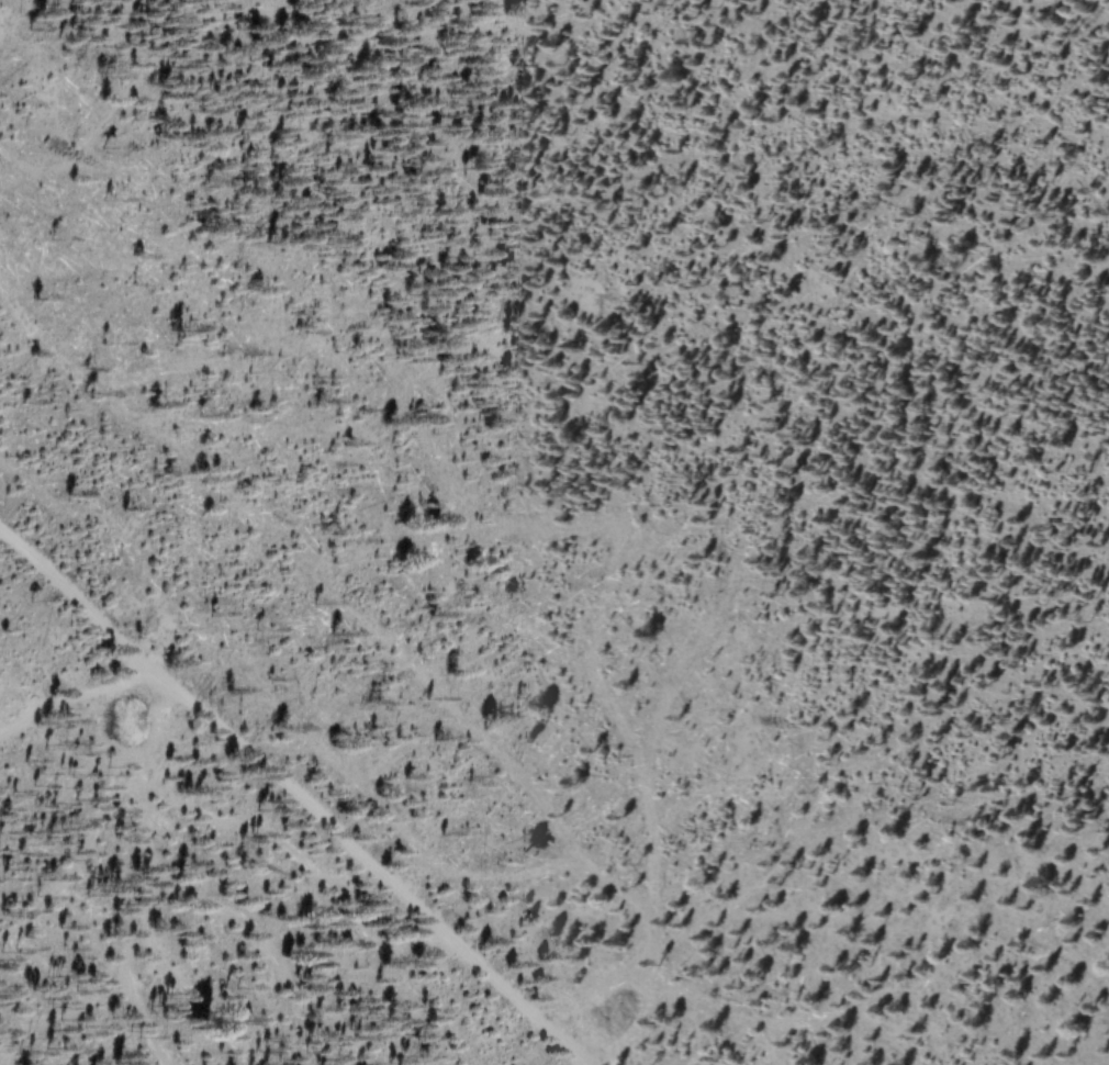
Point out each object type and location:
road: (58, 599)
road: (47, 704)
road: (346, 859)

